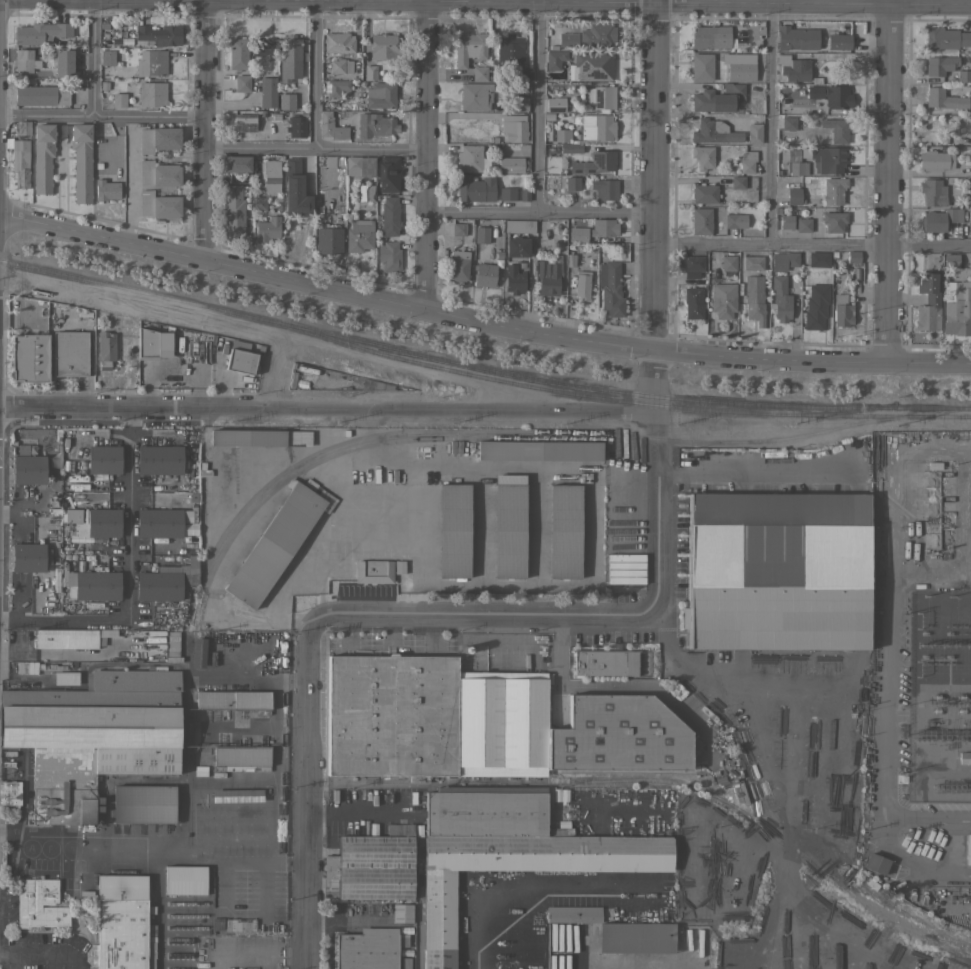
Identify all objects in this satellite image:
road: (588, 2)
building: (40, 32)
building: (159, 34)
building: (597, 35)
building: (711, 37)
building: (788, 37)
building: (946, 38)
building: (568, 39)
building: (837, 41)
building: (339, 42)
building: (385, 46)
building: (810, 46)
building: (262, 48)
building: (469, 48)
building: (237, 53)
building: (512, 54)
building: (108, 57)
road: (92, 58)
building: (290, 58)
building: (555, 59)
building: (23, 60)
building: (63, 62)
building: (152, 62)
building: (341, 65)
building: (940, 65)
building: (591, 66)
building: (702, 66)
building: (740, 66)
building: (793, 68)
building: (370, 73)
building: (480, 73)
road: (314, 74)
building: (964, 76)
building: (242, 83)
building: (336, 87)
building: (815, 91)
building: (268, 92)
building: (152, 93)
building: (381, 94)
building: (41, 95)
building: (476, 95)
building: (837, 95)
building: (601, 96)
building: (718, 98)
building: (945, 99)
building: (119, 100)
building: (287, 101)
building: (520, 103)
building: (555, 104)
road: (535, 106)
road: (102, 116)
road: (770, 121)
building: (245, 122)
building: (788, 123)
building: (375, 125)
building: (23, 127)
building: (296, 127)
building: (331, 127)
building: (514, 127)
building: (598, 127)
building: (836, 129)
road: (205, 131)
building: (714, 131)
building: (754, 133)
building: (562, 135)
building: (159, 139)
road: (314, 148)
building: (571, 148)
road: (423, 154)
building: (794, 155)
building: (703, 156)
building: (470, 157)
building: (829, 159)
building: (935, 160)
building: (20, 162)
building: (594, 162)
building: (747, 162)
building: (238, 164)
building: (511, 164)
building: (360, 166)
building: (798, 168)
building: (158, 173)
building: (388, 173)
building: (82, 175)
building: (272, 176)
road: (887, 181)
building: (738, 182)
building: (572, 183)
road: (129, 186)
building: (476, 188)
building: (604, 188)
building: (106, 189)
building: (296, 189)
building: (835, 189)
building: (932, 191)
building: (367, 193)
building: (507, 193)
building: (704, 193)
building: (793, 199)
building: (259, 203)
building: (159, 204)
road: (651, 208)
building: (234, 211)
road: (536, 213)
building: (390, 215)
building: (731, 220)
building: (701, 221)
building: (786, 221)
building: (833, 221)
building: (933, 221)
building: (803, 223)
building: (520, 225)
building: (603, 227)
building: (463, 228)
building: (267, 229)
building: (578, 234)
building: (359, 235)
building: (329, 236)
road: (811, 244)
building: (517, 245)
building: (389, 256)
building: (854, 256)
building: (818, 258)
building: (784, 260)
building: (951, 261)
building: (728, 262)
building: (753, 263)
building: (690, 264)
building: (458, 266)
building: (484, 274)
building: (548, 277)
building: (514, 279)
building: (582, 284)
building: (610, 288)
building: (723, 299)
building: (754, 299)
building: (780, 299)
building: (928, 300)
building: (693, 302)
building: (816, 306)
building: (957, 307)
building: (842, 311)
road: (481, 321)
building: (147, 344)
building: (105, 349)
building: (69, 353)
building: (29, 357)
building: (240, 357)
railway: (481, 367)
railway: (634, 402)
road: (326, 409)
railway: (390, 435)
building: (260, 437)
road: (655, 445)
building: (25, 450)
building: (537, 450)
building: (104, 459)
building: (159, 459)
building: (29, 469)
road: (755, 474)
road: (890, 511)
building: (95, 521)
building: (159, 523)
building: (509, 525)
building: (453, 530)
building: (564, 531)
building: (278, 540)
road: (427, 542)
road: (656, 544)
building: (345, 553)
building: (28, 557)
building: (373, 571)
building: (778, 571)
road: (125, 574)
building: (166, 581)
building: (96, 585)
road: (481, 616)
building: (66, 638)
building: (608, 662)
building: (29, 667)
building: (68, 677)
road: (255, 677)
road: (728, 684)
power substation: (939, 697)
building: (232, 700)
building: (391, 715)
building: (501, 723)
building: (618, 735)
building: (92, 737)
building: (964, 757)
building: (241, 758)
railway: (655, 780)
building: (11, 792)
road: (306, 793)
building: (144, 804)
road: (918, 818)
road: (961, 818)
road: (155, 838)
road: (951, 846)
building: (967, 849)
building: (508, 852)
road: (903, 859)
building: (876, 863)
building: (374, 864)
road: (961, 874)
building: (185, 879)
building: (121, 884)
building: (40, 904)
building: (573, 914)
road: (506, 918)
building: (123, 933)
building: (636, 937)
building: (369, 948)
road: (43, 950)
road: (637, 963)

